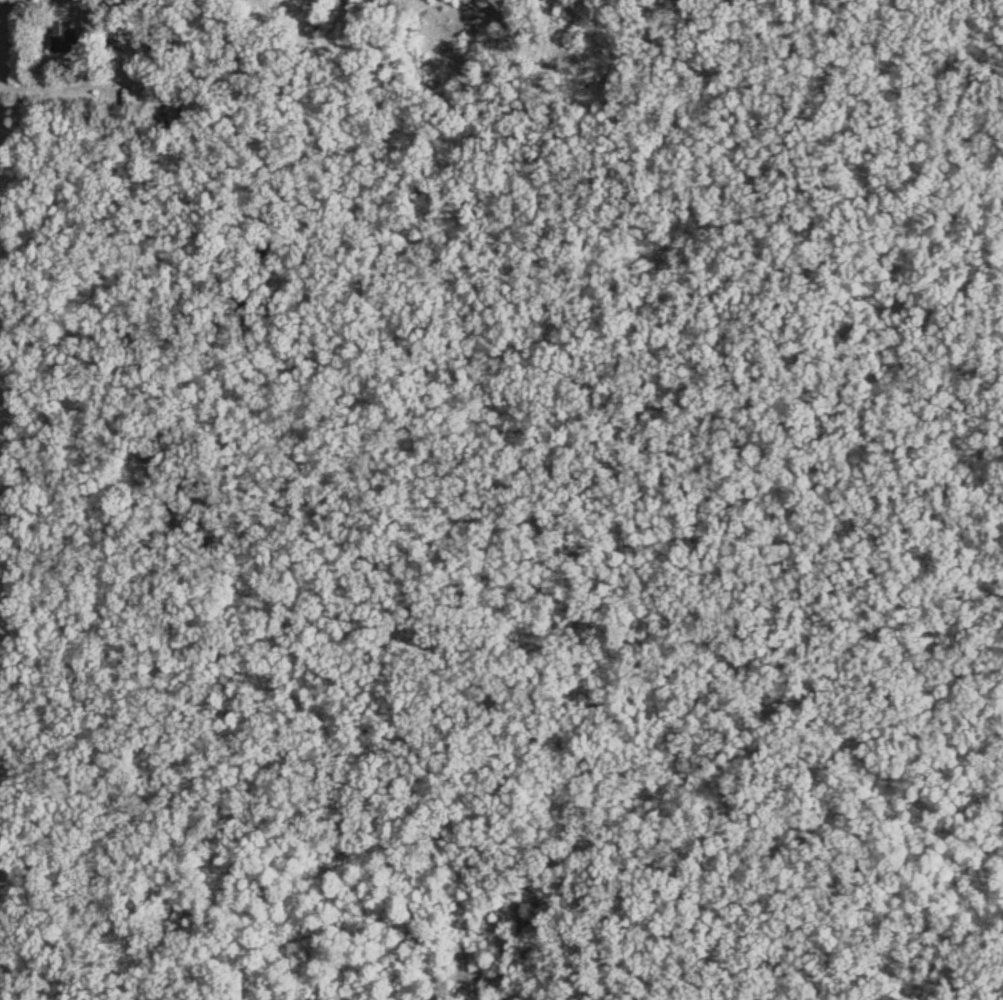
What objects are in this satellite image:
building: (112, 32)

